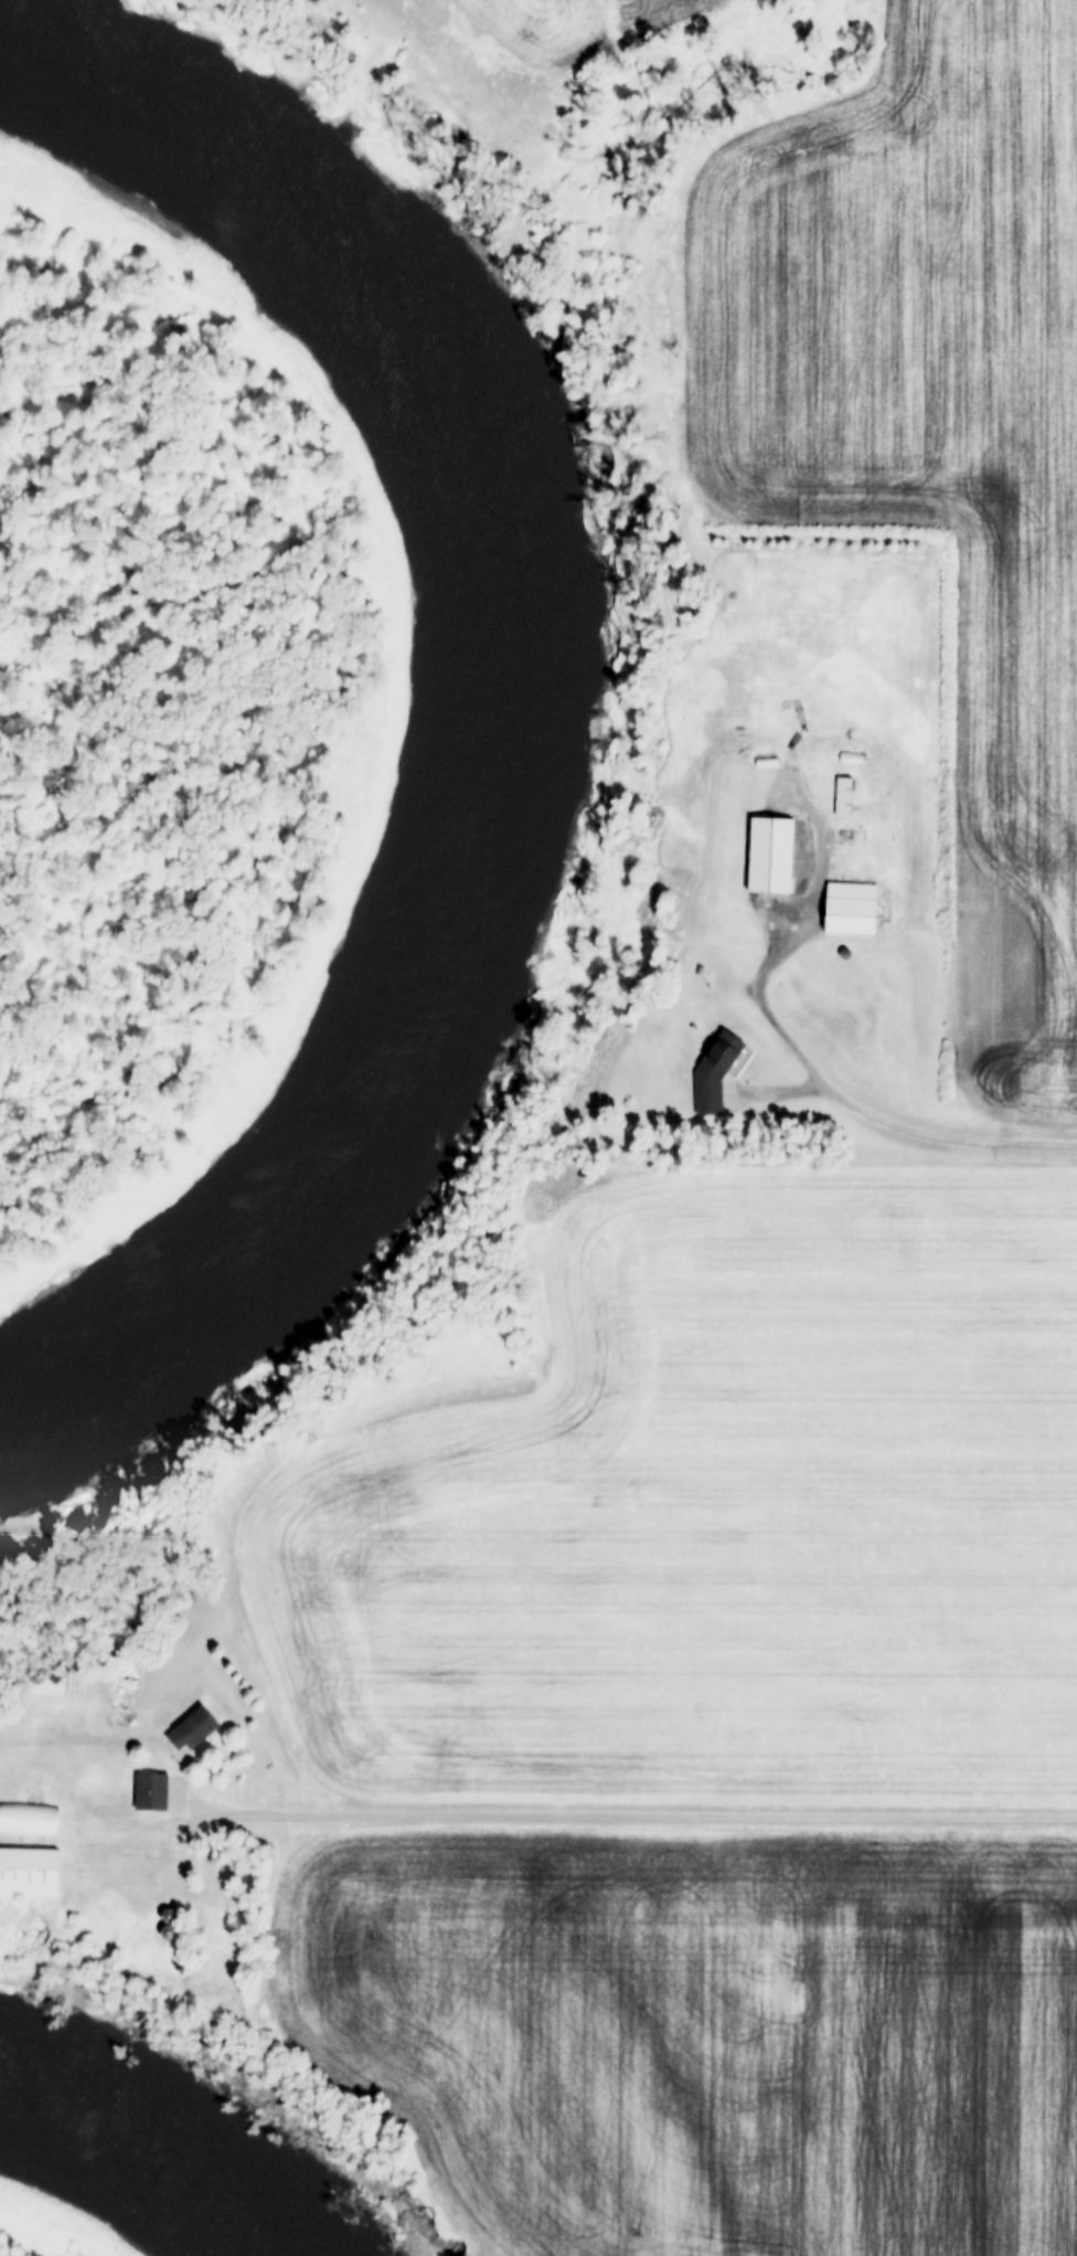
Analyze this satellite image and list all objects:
river: (460, 739)
building: (839, 795)
building: (765, 855)
building: (840, 886)
building: (838, 913)
building: (711, 1057)
road: (883, 1119)
building: (184, 1728)
building: (145, 1790)
road: (692, 1813)
building: (28, 1820)
building: (8, 1868)
river: (132, 2169)

